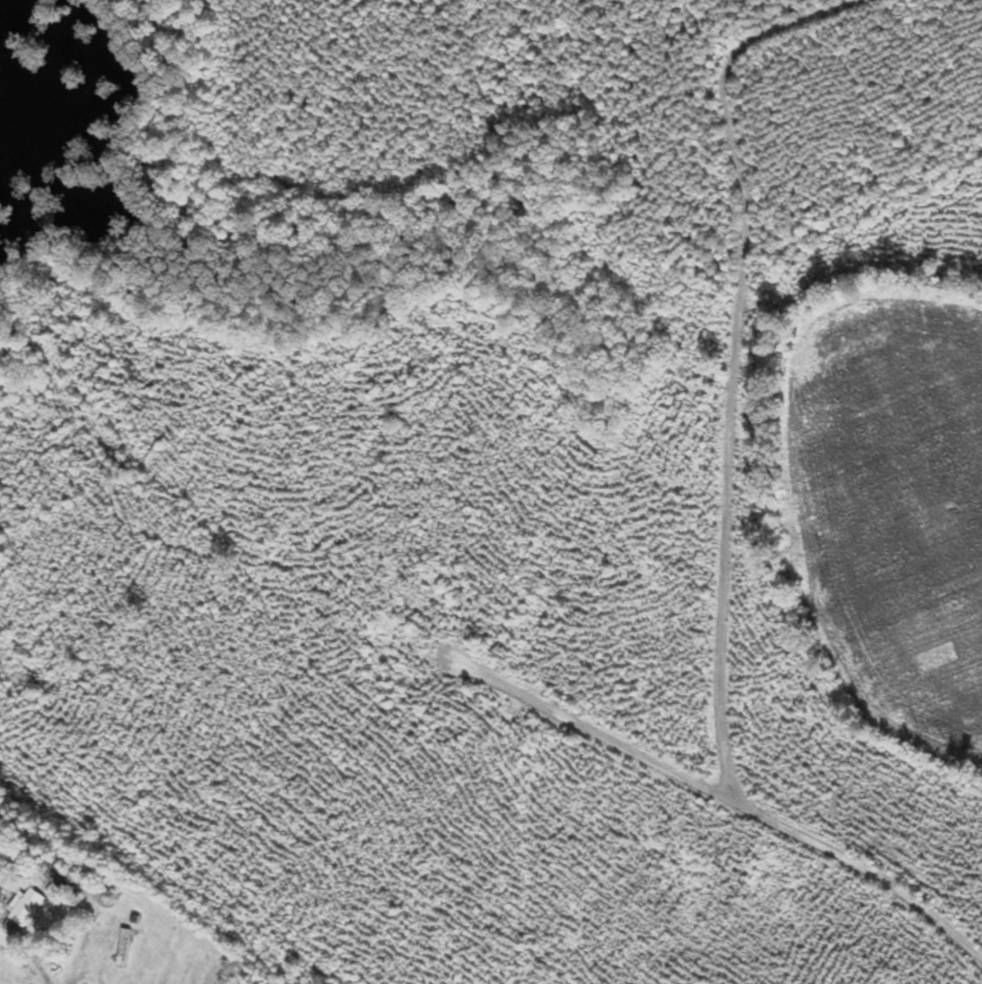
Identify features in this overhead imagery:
road: (728, 492)
road: (594, 727)
building: (59, 874)
building: (30, 908)
building: (124, 948)

